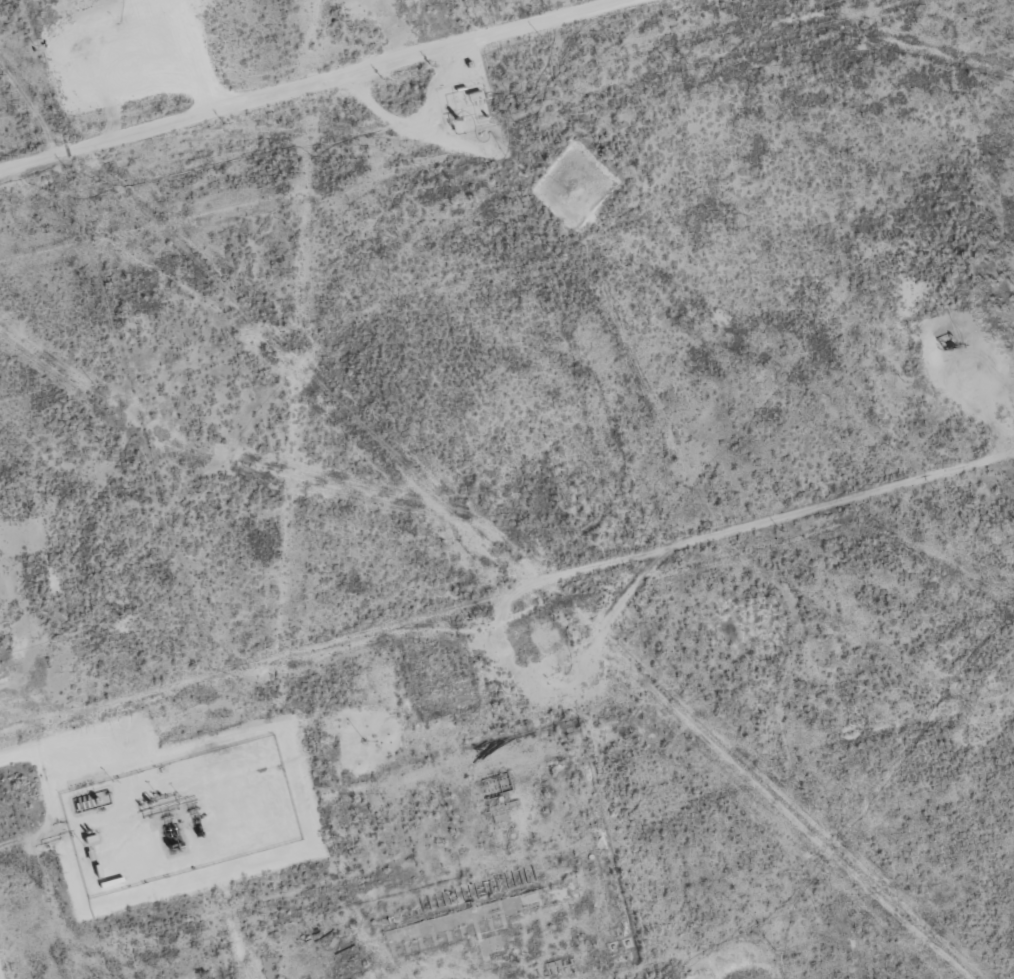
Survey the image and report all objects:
road: (345, 94)
road: (507, 631)

